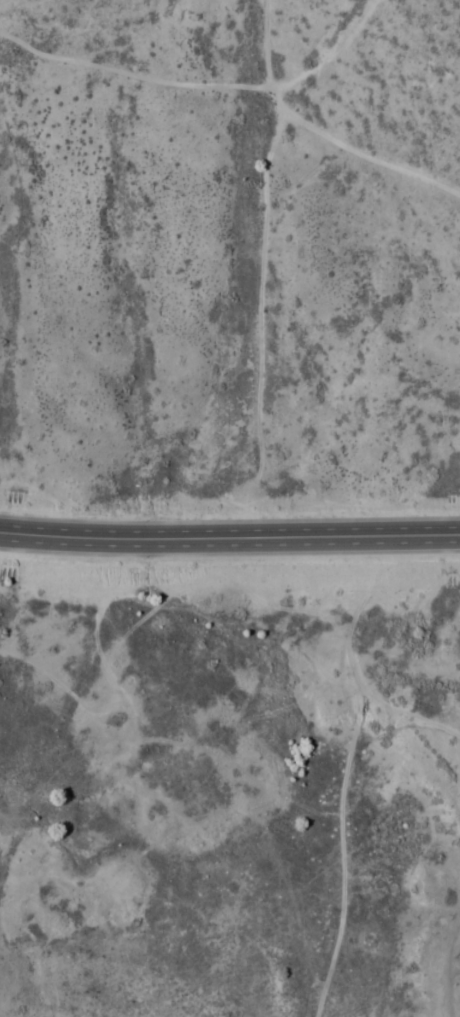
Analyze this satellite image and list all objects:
road: (229, 535)
quarry: (128, 996)

